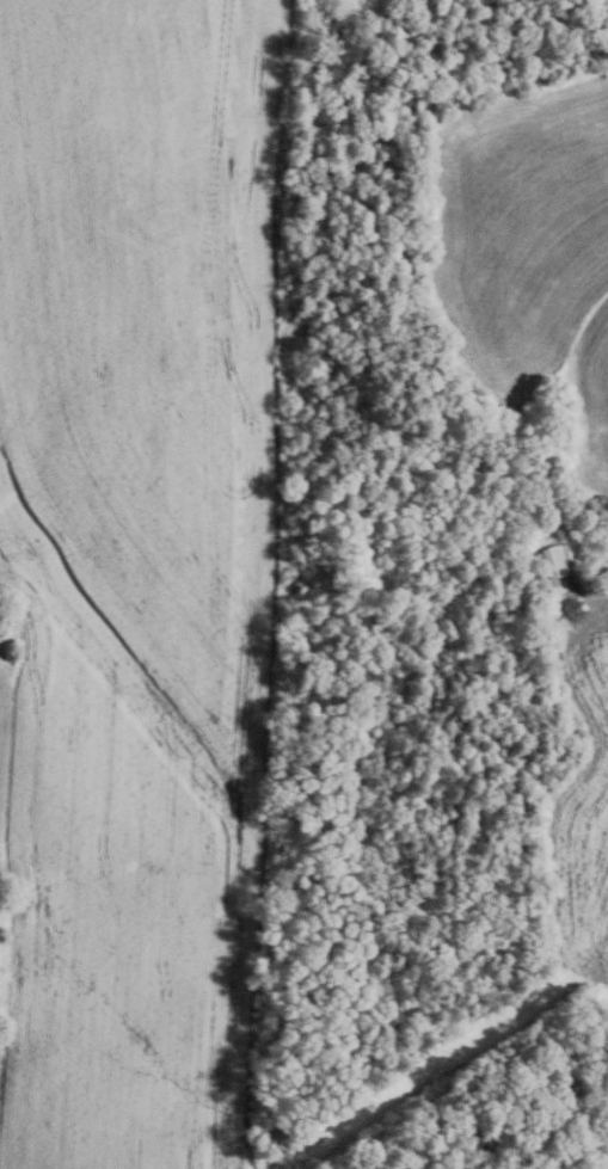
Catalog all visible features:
crop: (527, 240)
building: (555, 561)
crop: (582, 798)
crop: (607, 1168)

